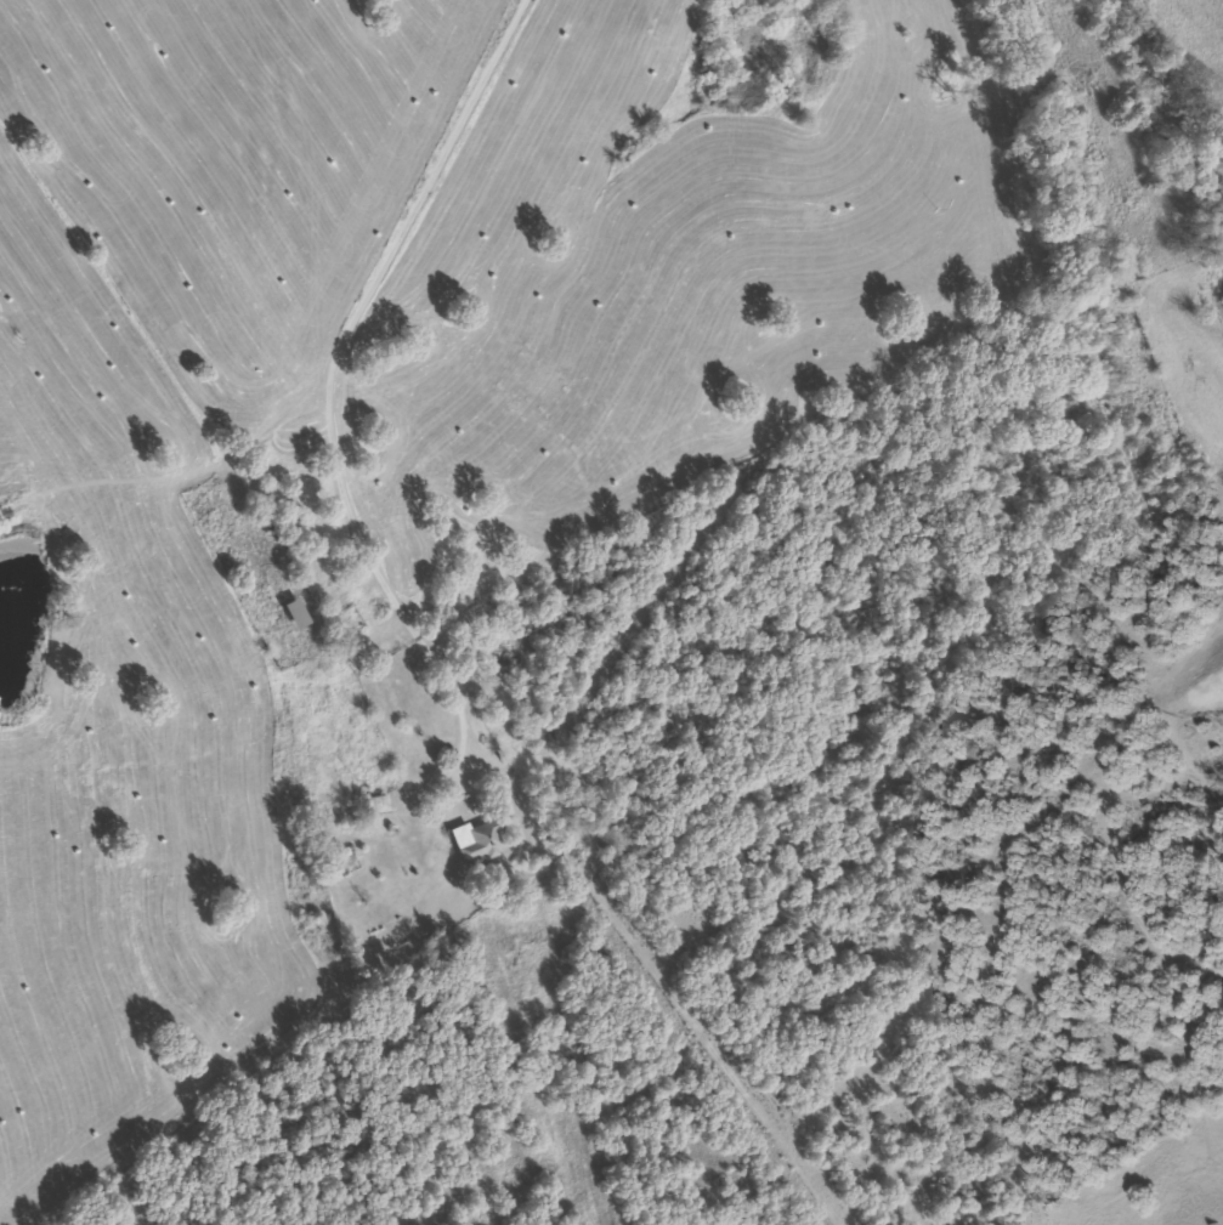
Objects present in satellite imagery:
road: (379, 256)
building: (291, 613)
building: (372, 804)
building: (472, 840)

